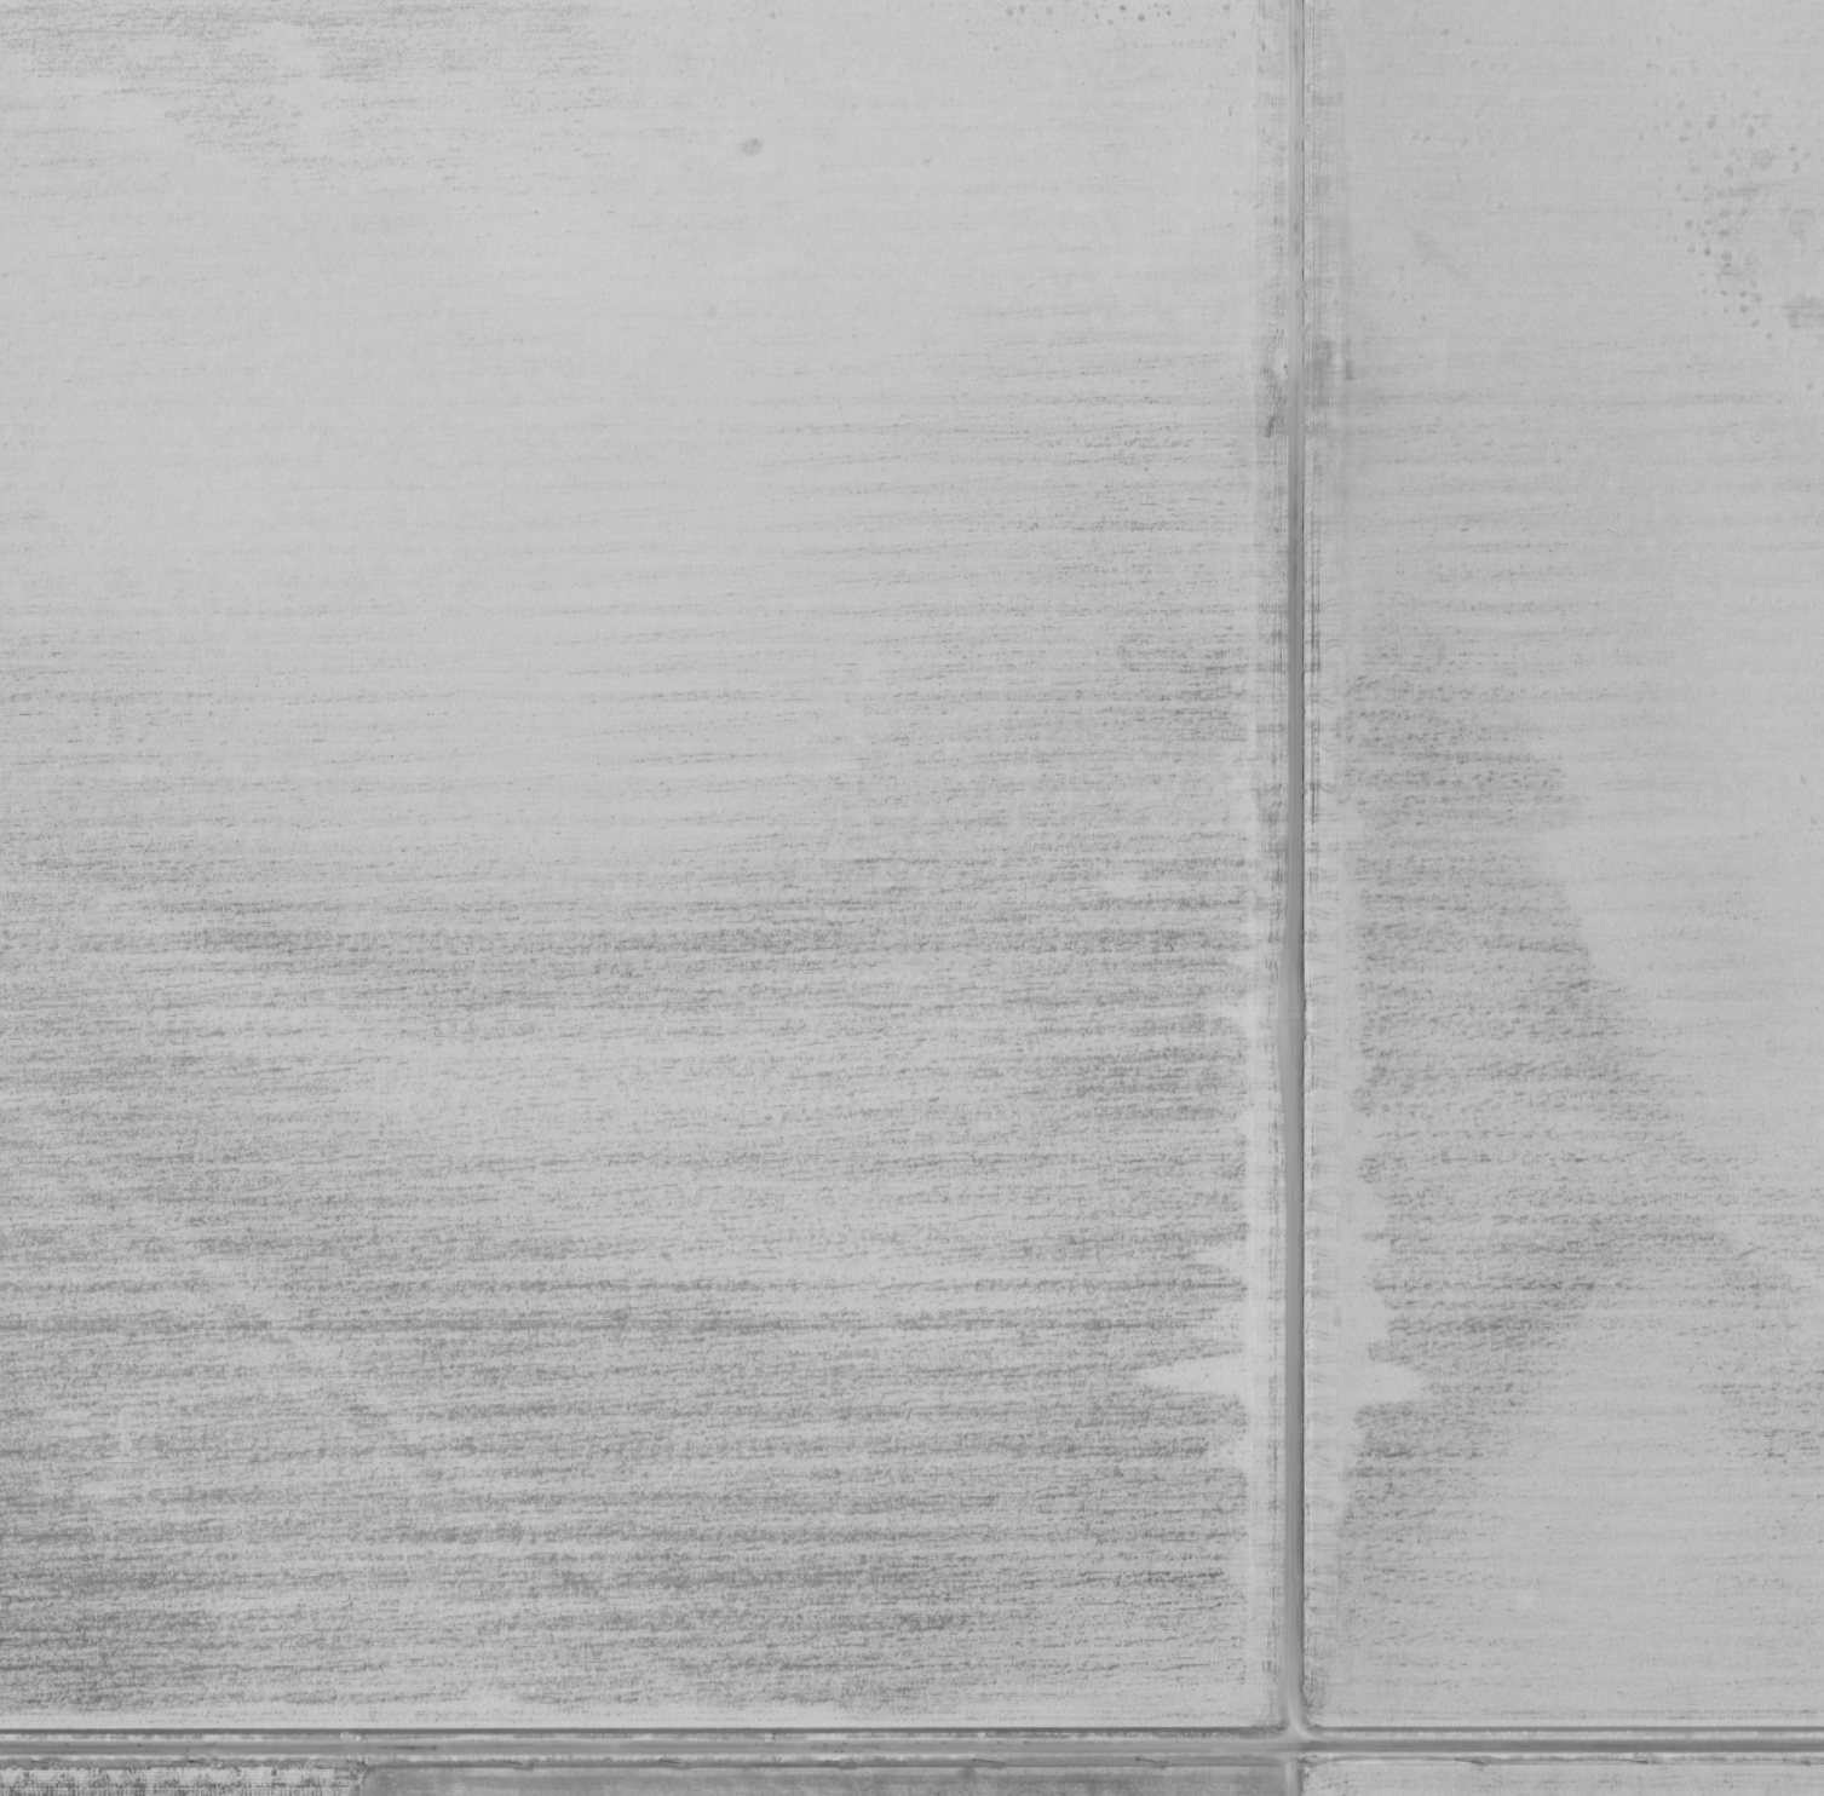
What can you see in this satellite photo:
road: (1312, 898)
road: (911, 1748)

